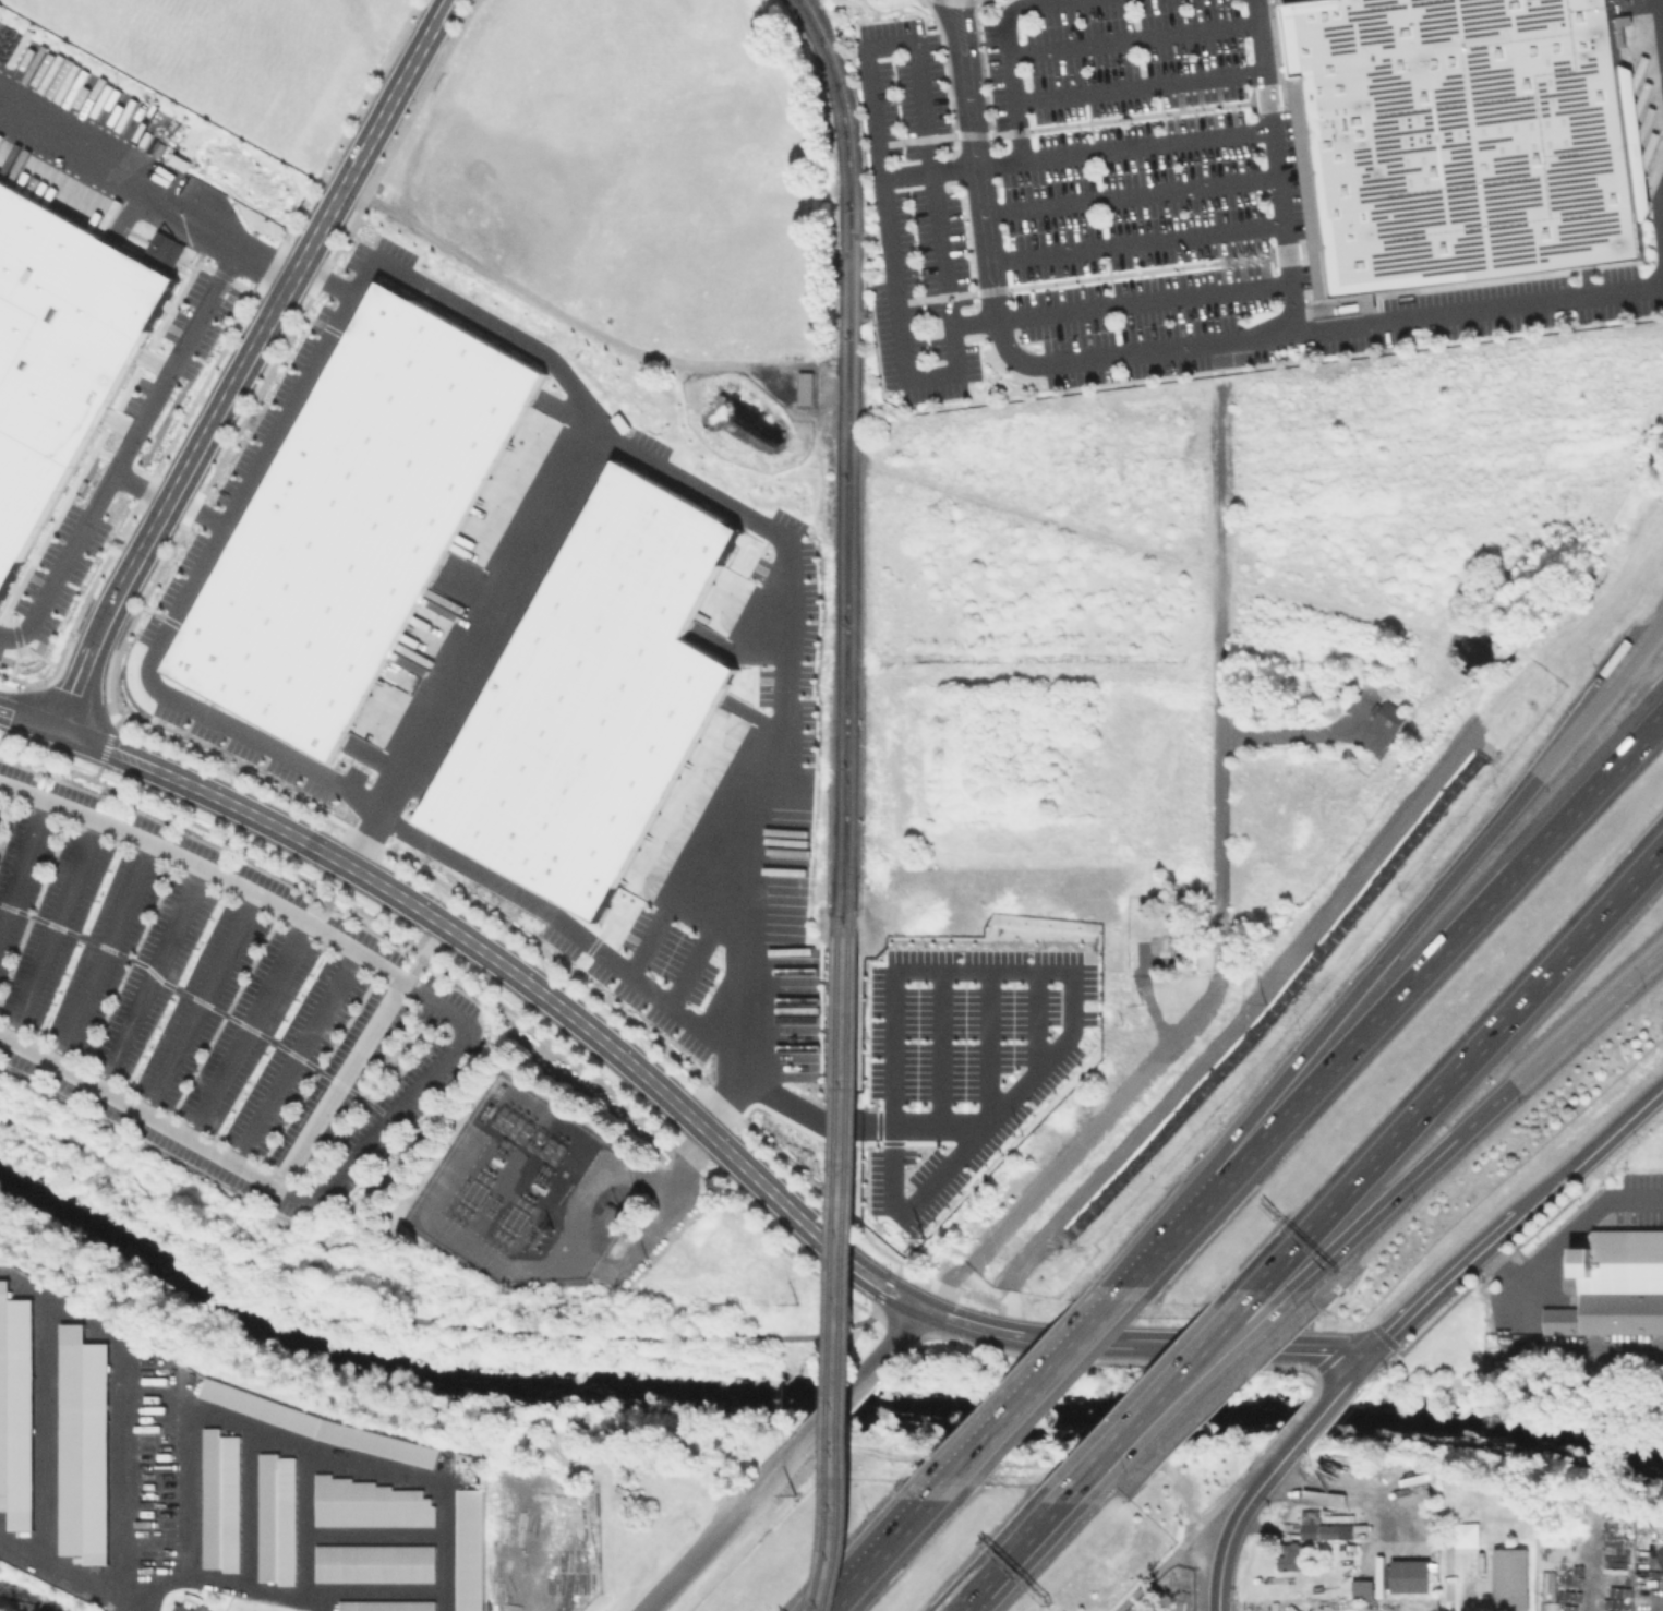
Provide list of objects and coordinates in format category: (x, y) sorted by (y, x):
road: (953, 0)
road: (980, 0)
road: (981, 0)
road: (1130, 38)
flagpole: (1246, 38)
flagpole: (1248, 48)
road: (1658, 51)
flagpole: (1249, 58)
road: (945, 64)
road: (980, 65)
road: (864, 69)
road: (1136, 86)
road: (364, 93)
road: (415, 105)
road: (1071, 123)
building: (1460, 140)
road: (1044, 157)
road: (996, 163)
parking lot: (1065, 182)
road: (1126, 195)
parking lot: (1294, 197)
road: (1132, 242)
flagpole: (1270, 251)
flagpole: (1260, 252)
flagpole: (1250, 253)
flagpole: (1240, 255)
flagpole: (1265, 259)
flagpole: (1255, 261)
flagpole: (1245, 262)
flagpole: (1236, 263)
road: (264, 266)
road: (1087, 277)
road: (1140, 301)
road: (993, 320)
road: (971, 322)
road: (1312, 327)
road: (192, 334)
building: (59, 356)
road: (243, 361)
road: (927, 377)
building: (804, 387)
road: (282, 418)
railway: (840, 457)
railway: (849, 458)
road: (140, 489)
building: (354, 520)
road: (780, 616)
road: (448, 676)
building: (593, 698)
building: (1386, 714)
road: (29, 720)
road: (107, 749)
road: (1529, 784)
road: (358, 842)
road: (24, 865)
road: (1218, 875)
building: (320, 903)
road: (724, 918)
road: (652, 921)
road: (555, 928)
road: (53, 931)
building: (1181, 942)
road: (1443, 952)
road: (104, 955)
road: (683, 964)
road: (511, 970)
road: (149, 978)
road: (1073, 1000)
parking lot: (213, 1002)
road: (200, 1005)
road: (1039, 1014)
road: (896, 1021)
road: (733, 1023)
road: (246, 1032)
road: (993, 1038)
road: (1557, 1041)
road: (944, 1045)
road: (453, 1054)
road: (293, 1058)
road: (1458, 1059)
road: (1309, 1066)
road: (339, 1085)
road: (809, 1114)
road: (938, 1121)
building: (868, 1125)
road: (1615, 1132)
road: (1424, 1164)
power substation: (523, 1190)
road: (1515, 1193)
road: (1544, 1195)
road: (914, 1207)
building: (608, 1216)
road: (1565, 1233)
road: (1180, 1235)
road: (1346, 1236)
parking lot: (1555, 1239)
railway: (834, 1269)
railway: (845, 1269)
road: (876, 1269)
building: (1614, 1277)
road: (866, 1284)
road: (942, 1284)
road: (1443, 1285)
road: (881, 1296)
road: (1239, 1297)
road: (1261, 1297)
road: (413, 1320)
road: (891, 1322)
road: (971, 1325)
road: (904, 1337)
road: (1128, 1343)
road: (1304, 1348)
road: (1340, 1348)
road: (1109, 1361)
road: (1354, 1375)
road: (1316, 1381)
road: (1032, 1394)
road: (1136, 1406)
building: (15, 1407)
road: (1292, 1421)
road: (1314, 1422)
building: (317, 1423)
road: (817, 1428)
building: (83, 1443)
building: (469, 1468)
road: (1256, 1491)
building: (219, 1498)
road: (128, 1501)
building: (374, 1504)
building: (280, 1518)
building: (1324, 1528)
road: (1192, 1532)
road: (1012, 1538)
building: (475, 1552)
road: (701, 1552)
road: (879, 1558)
building: (1296, 1558)
building: (383, 1565)
building: (1511, 1570)
road: (1221, 1573)
building: (1410, 1577)
road: (1448, 1580)
building: (1364, 1590)
building: (1551, 1592)
road: (961, 1595)
building: (185, 1607)
building: (385, 1607)

